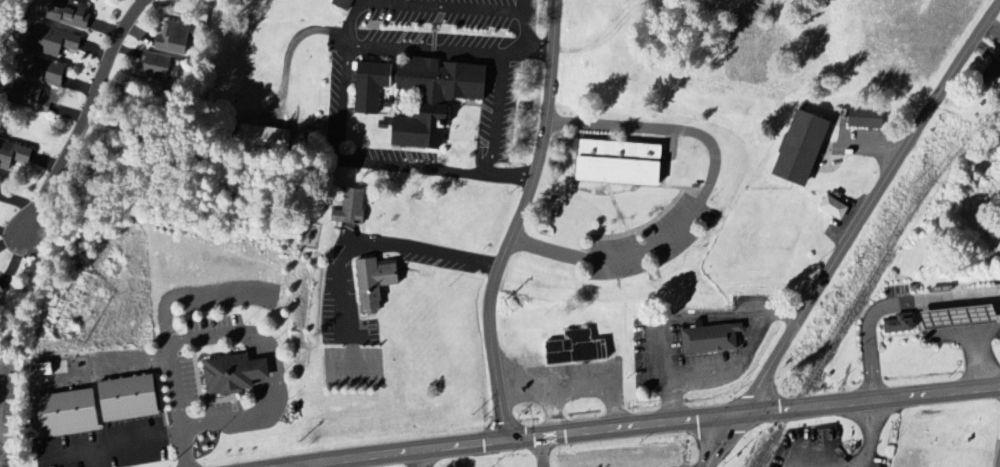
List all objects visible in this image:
building: (344, 4)
road: (445, 10)
building: (69, 13)
road: (352, 17)
road: (525, 23)
building: (175, 38)
building: (54, 42)
road: (528, 48)
road: (427, 52)
building: (157, 67)
building: (44, 71)
building: (994, 71)
building: (29, 97)
building: (375, 104)
road: (82, 114)
building: (867, 118)
road: (661, 126)
road: (493, 136)
building: (266, 137)
building: (804, 148)
building: (14, 158)
road: (359, 162)
building: (621, 163)
building: (0, 179)
building: (353, 208)
building: (836, 208)
road: (866, 208)
road: (516, 221)
road: (420, 251)
road: (614, 256)
railway: (868, 281)
building: (376, 284)
building: (2, 292)
road: (960, 294)
road: (679, 318)
building: (962, 318)
building: (902, 324)
building: (711, 339)
building: (577, 349)
road: (733, 370)
building: (234, 374)
road: (872, 381)
building: (98, 407)
road: (180, 419)
traffic signals: (737, 420)
road: (675, 425)
road: (871, 435)
traffic signals: (503, 442)
road: (722, 443)

